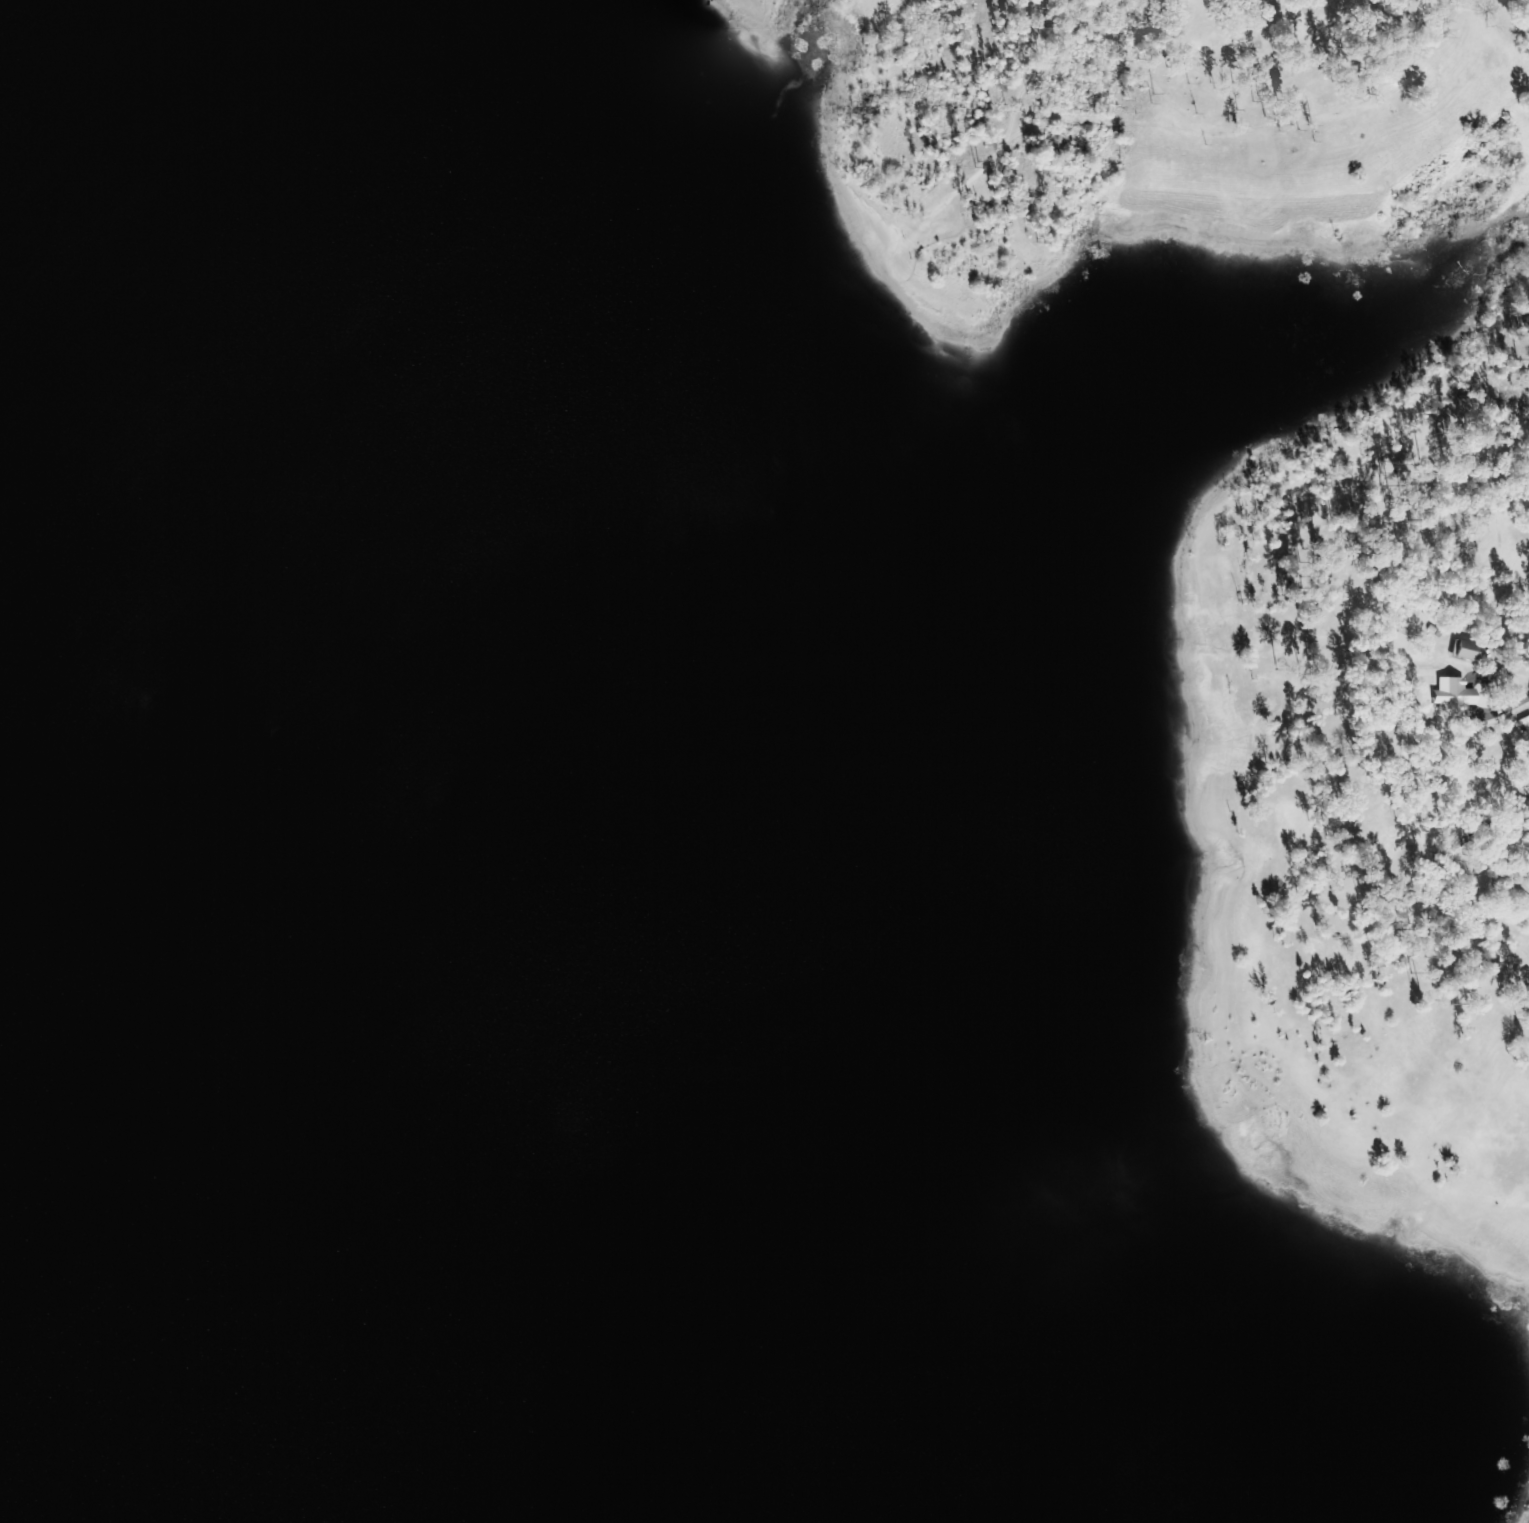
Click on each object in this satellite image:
building: (1412, 624)
building: (1467, 652)
building: (1452, 696)

